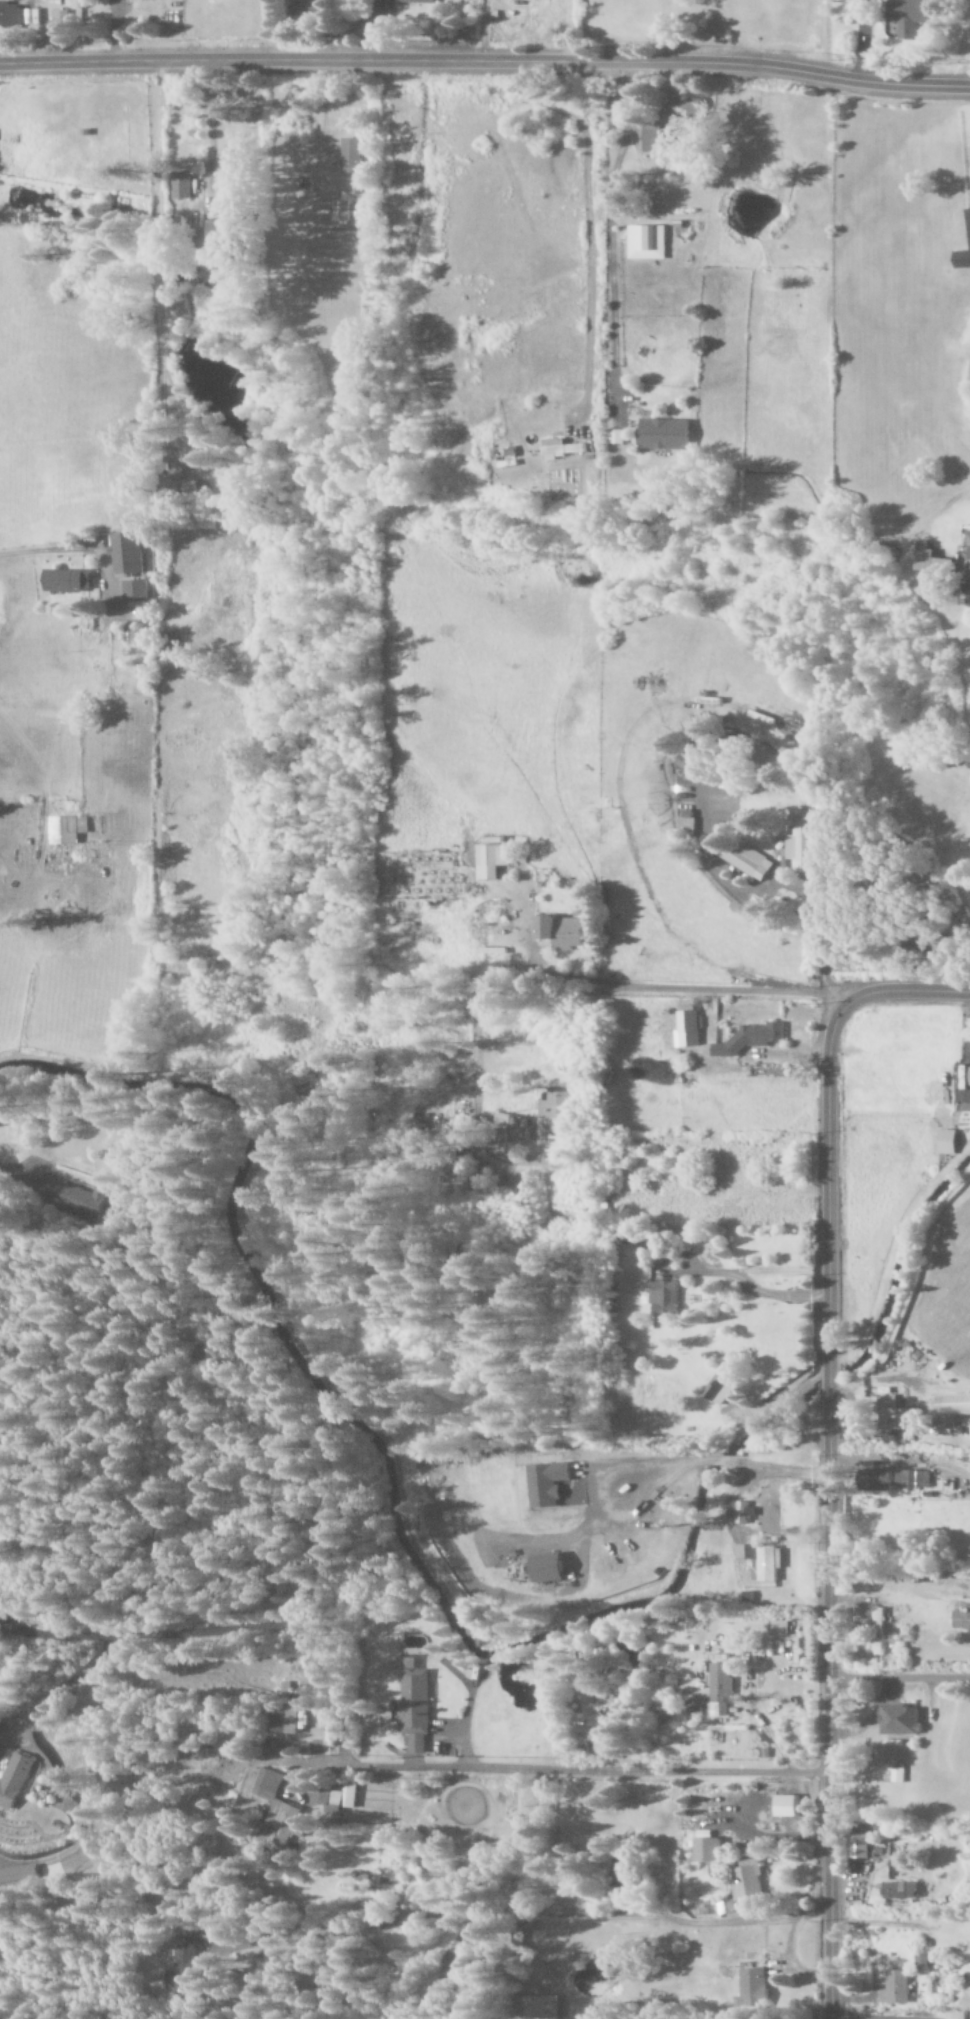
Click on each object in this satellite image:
building: (416, 2)
building: (305, 8)
building: (1, 13)
building: (910, 16)
building: (60, 28)
road: (485, 61)
building: (685, 114)
building: (654, 140)
building: (354, 156)
building: (183, 186)
building: (344, 215)
building: (236, 230)
building: (648, 243)
building: (964, 251)
road: (157, 267)
building: (181, 307)
building: (665, 435)
building: (563, 448)
building: (184, 488)
road: (54, 551)
building: (128, 553)
building: (969, 554)
building: (932, 560)
building: (68, 580)
building: (136, 589)
building: (684, 761)
building: (690, 820)
building: (68, 829)
building: (810, 839)
building: (745, 857)
building: (491, 861)
building: (563, 932)
road: (906, 989)
building: (751, 1039)
building: (555, 1106)
building: (0, 1122)
building: (510, 1132)
building: (452, 1139)
building: (948, 1142)
building: (395, 1163)
road: (9, 1171)
road: (821, 1171)
building: (76, 1198)
building: (665, 1297)
road: (821, 1384)
building: (719, 1389)
building: (953, 1404)
building: (892, 1414)
building: (907, 1479)
building: (877, 1480)
building: (548, 1484)
building: (744, 1513)
building: (766, 1561)
building: (550, 1568)
building: (780, 1628)
building: (877, 1629)
road: (895, 1678)
building: (720, 1684)
building: (415, 1705)
building: (287, 1720)
road: (820, 1720)
building: (902, 1720)
building: (16, 1780)
building: (341, 1796)
building: (788, 1806)
building: (0, 1808)
building: (278, 1813)
building: (861, 1846)
building: (708, 1850)
building: (17, 1874)
building: (749, 1879)
building: (900, 1890)
building: (922, 1963)
building: (182, 1968)
building: (754, 1984)
building: (896, 1987)
building: (545, 2007)

